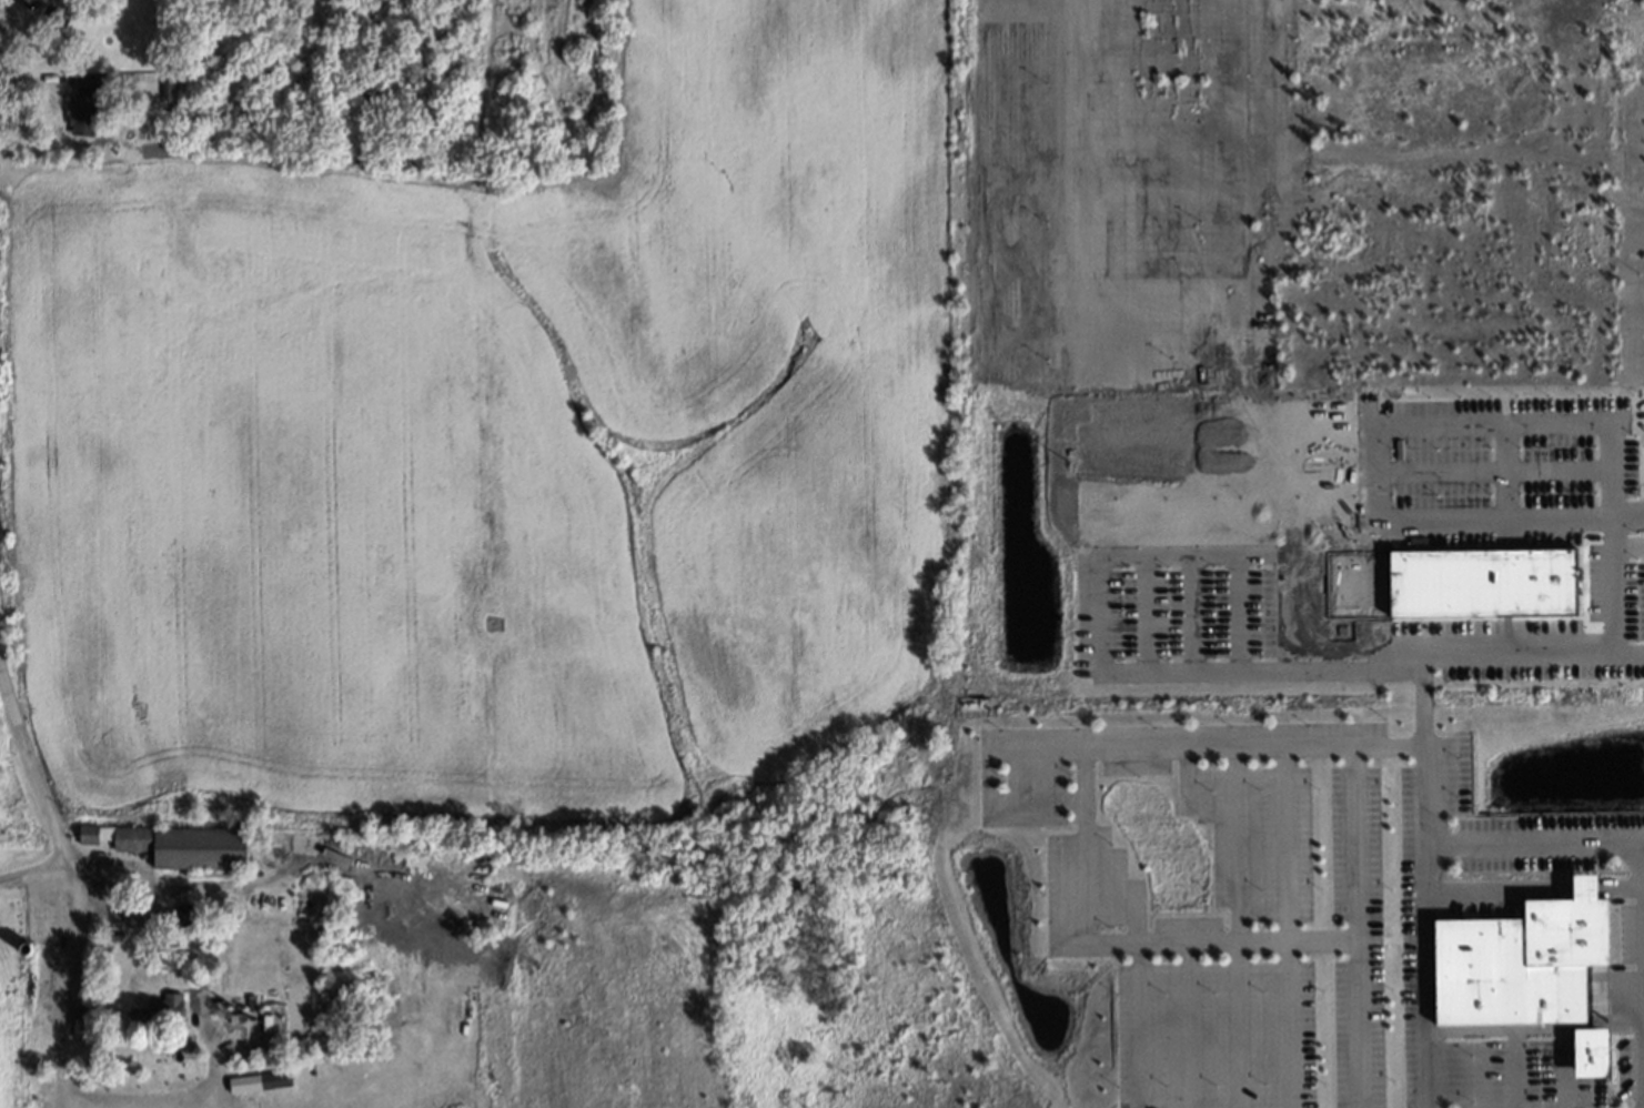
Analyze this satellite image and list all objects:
building: (53, 19)
building: (84, 84)
building: (79, 113)
road: (1492, 422)
road: (1505, 470)
road: (1627, 547)
building: (1483, 583)
road: (1091, 615)
road: (1626, 657)
road: (1583, 658)
road: (1410, 662)
road: (981, 790)
road: (43, 823)
road: (1616, 834)
road: (1642, 840)
building: (176, 844)
road: (132, 865)
road: (29, 867)
building: (188, 913)
road: (1350, 927)
road: (1242, 940)
building: (37, 948)
building: (22, 949)
building: (1522, 961)
road: (54, 1001)
road: (194, 1001)
building: (160, 1008)
building: (238, 1019)
building: (263, 1021)
building: (84, 1027)
building: (250, 1034)
building: (1594, 1055)
building: (260, 1081)

